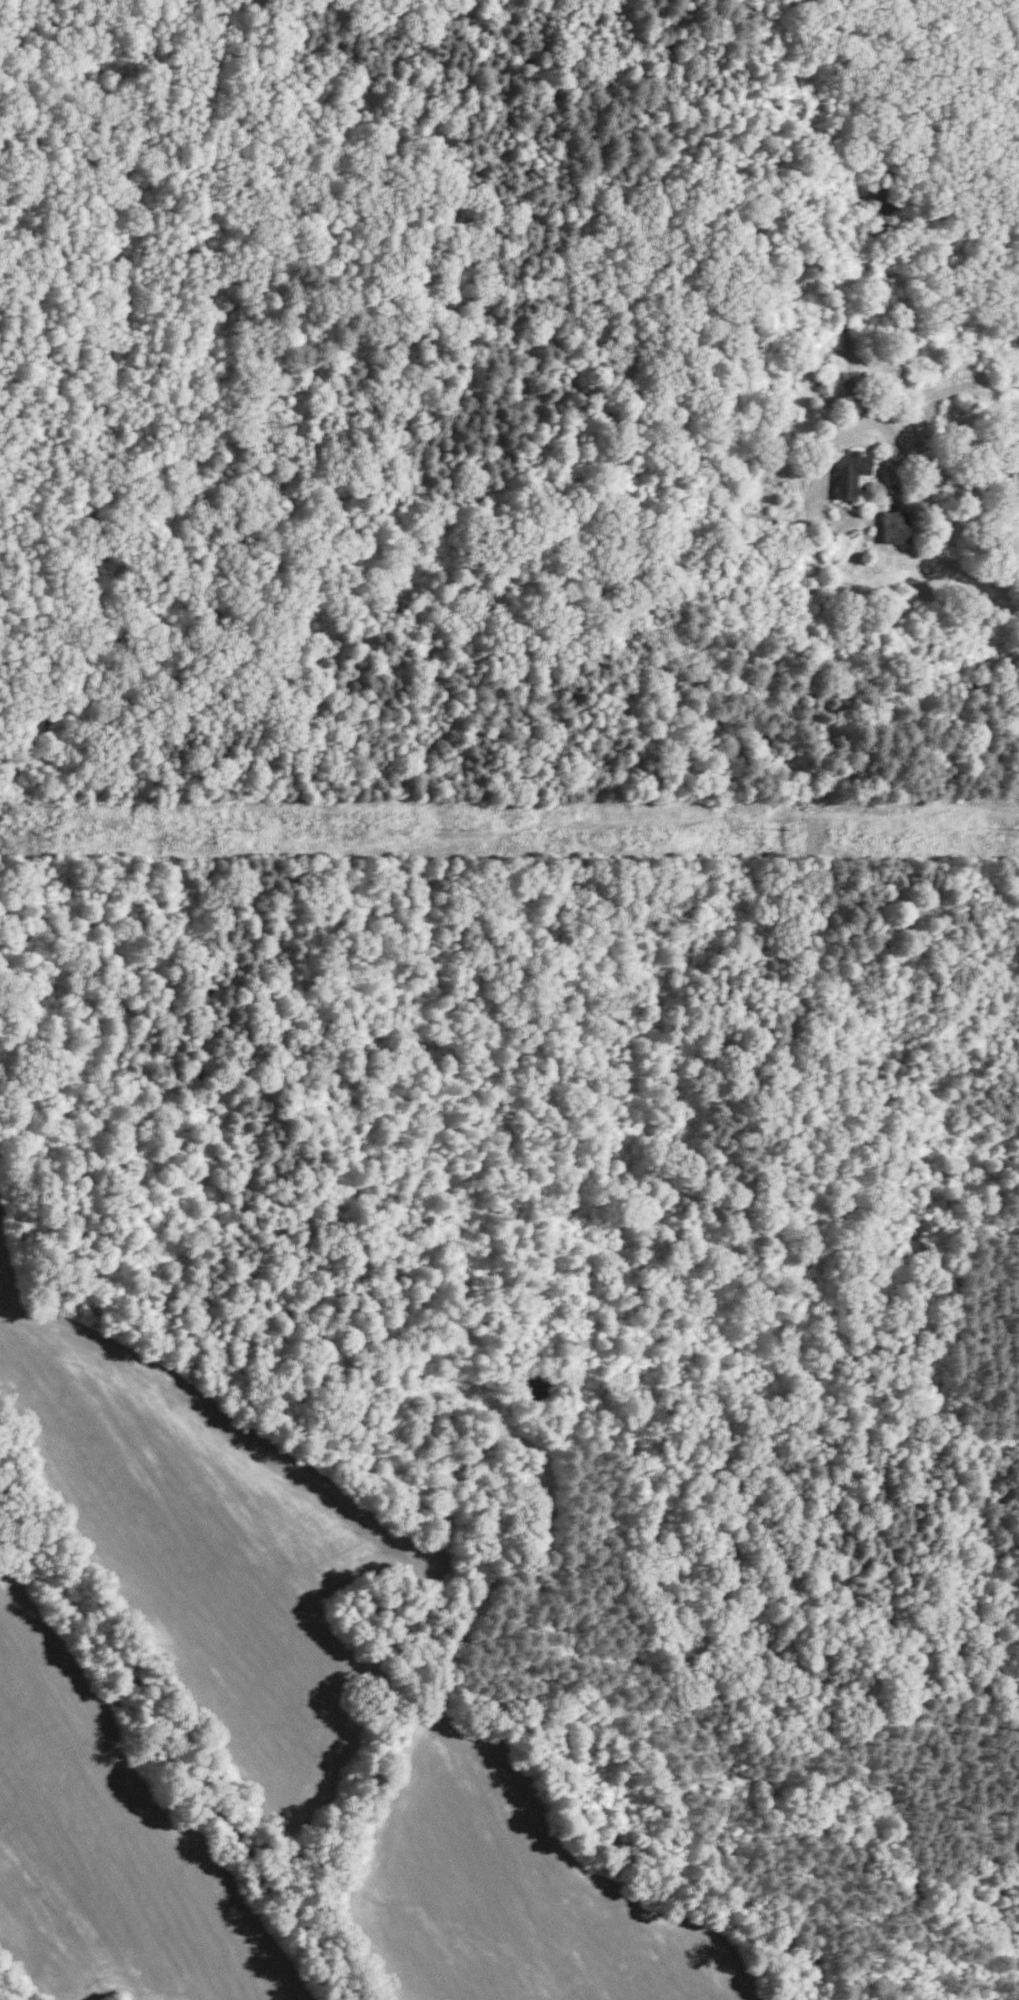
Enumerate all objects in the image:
building: (850, 471)
road: (962, 475)
building: (894, 525)
power tower: (465, 828)
power tower: (252, 829)
power tower: (784, 829)

